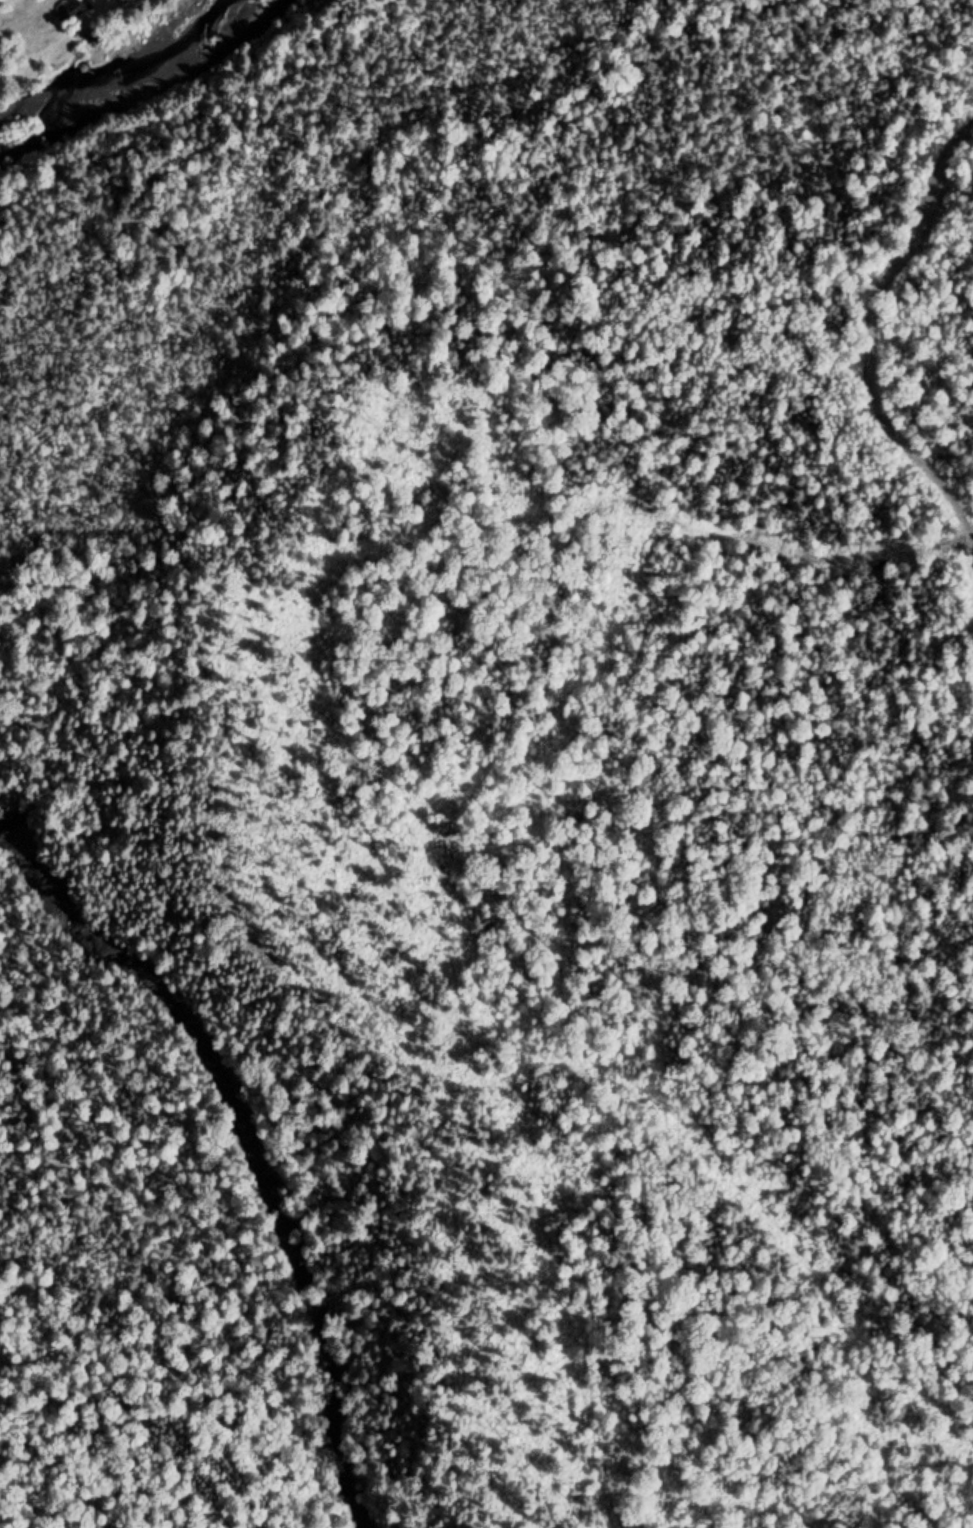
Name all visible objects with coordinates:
river: (143, 97)
river: (269, 1100)

